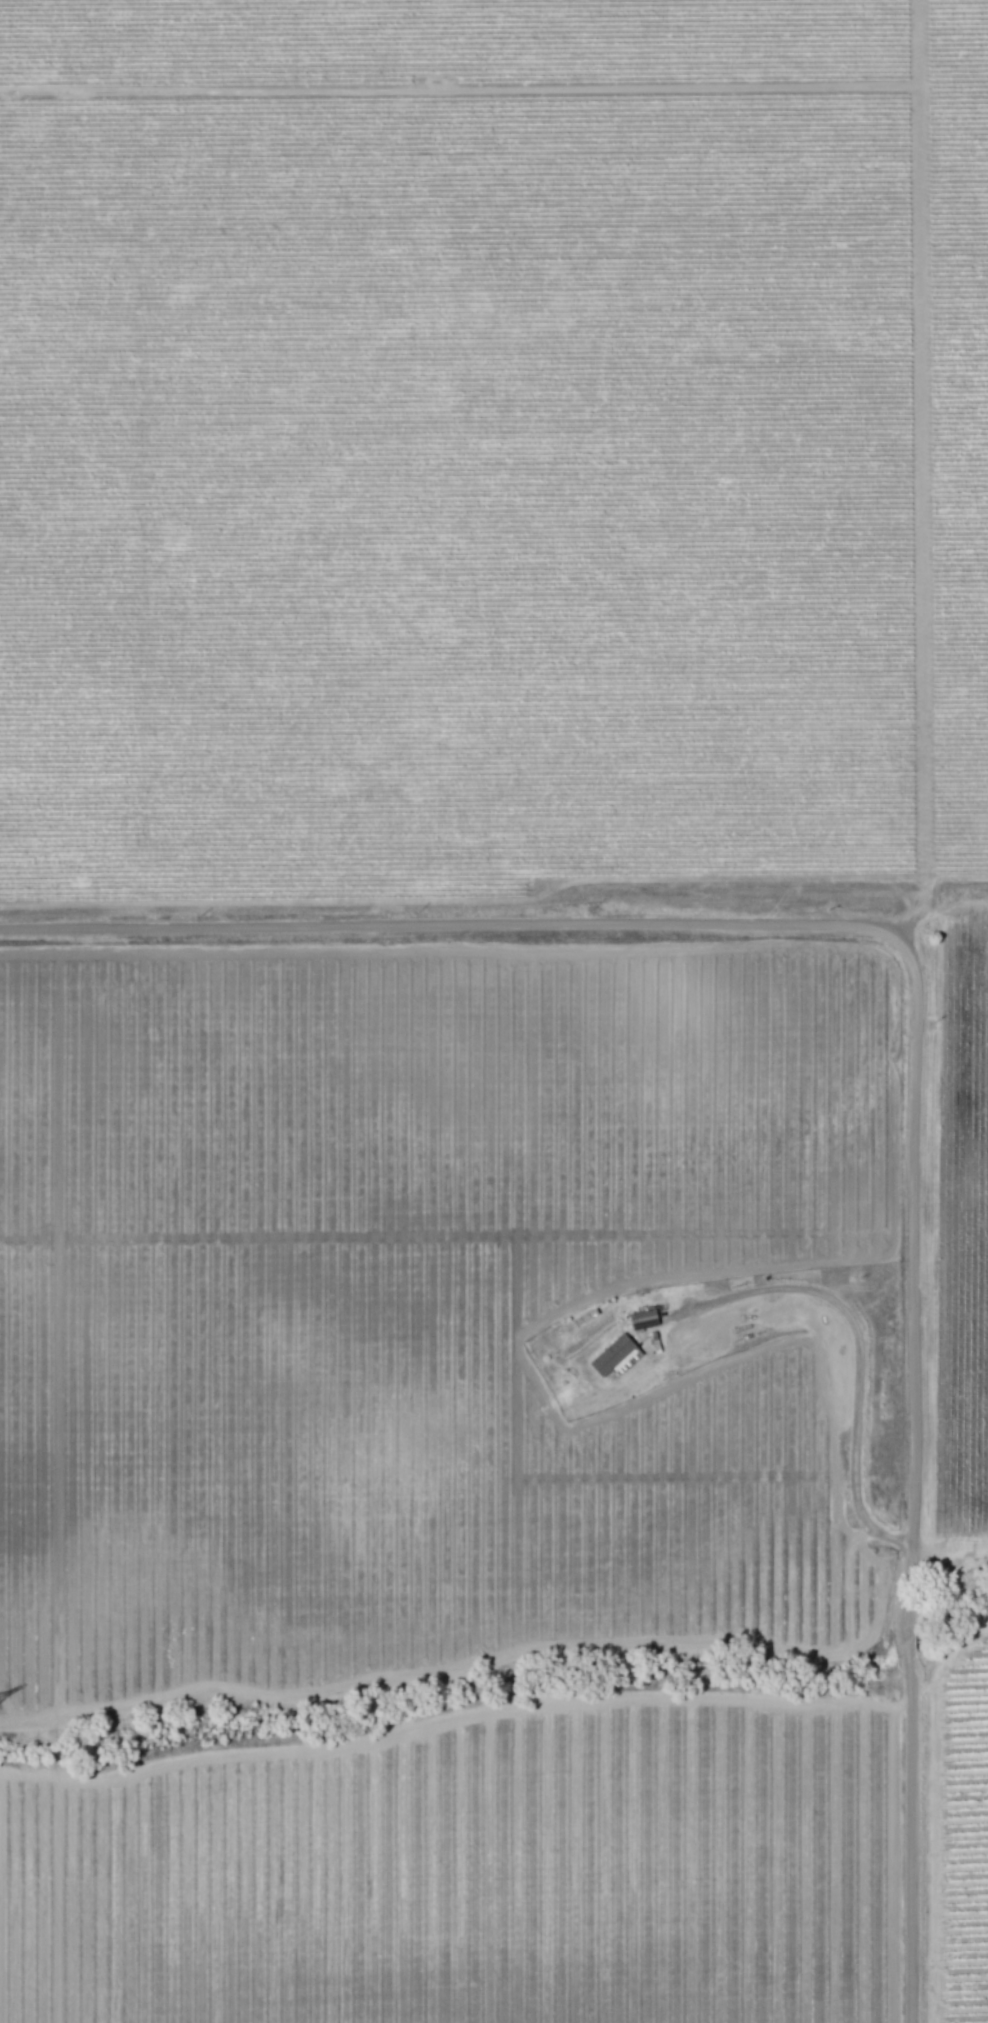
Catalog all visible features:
road: (434, 930)
road: (915, 1261)
building: (641, 1319)
road: (857, 1346)
building: (609, 1354)
road: (950, 1566)
road: (906, 1642)
road: (913, 1844)

